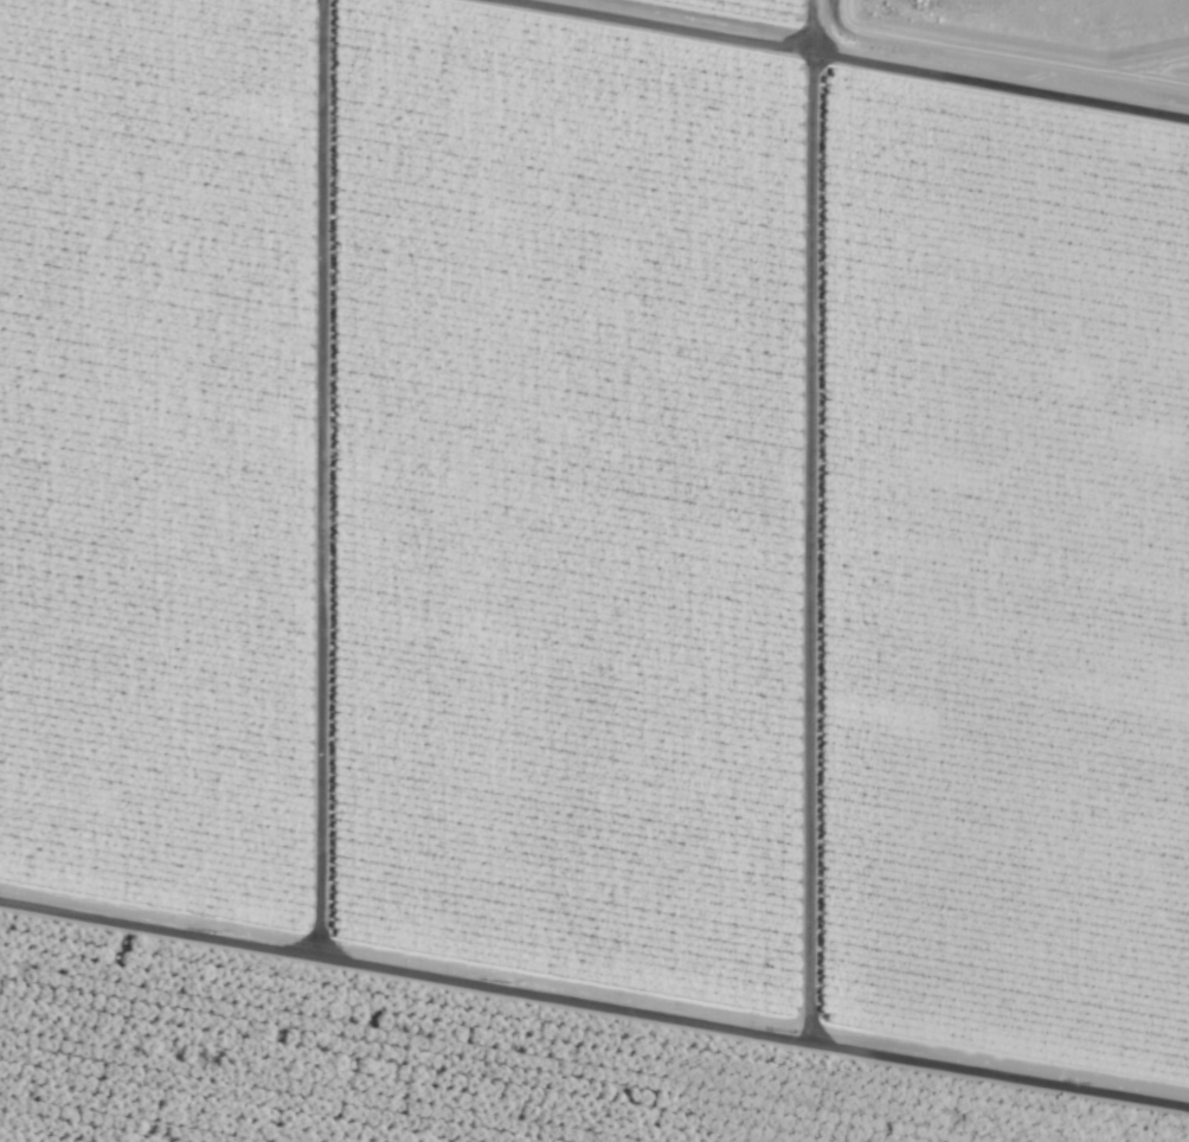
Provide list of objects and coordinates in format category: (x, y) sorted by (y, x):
crop: (594, 571)
road: (542, 1039)

